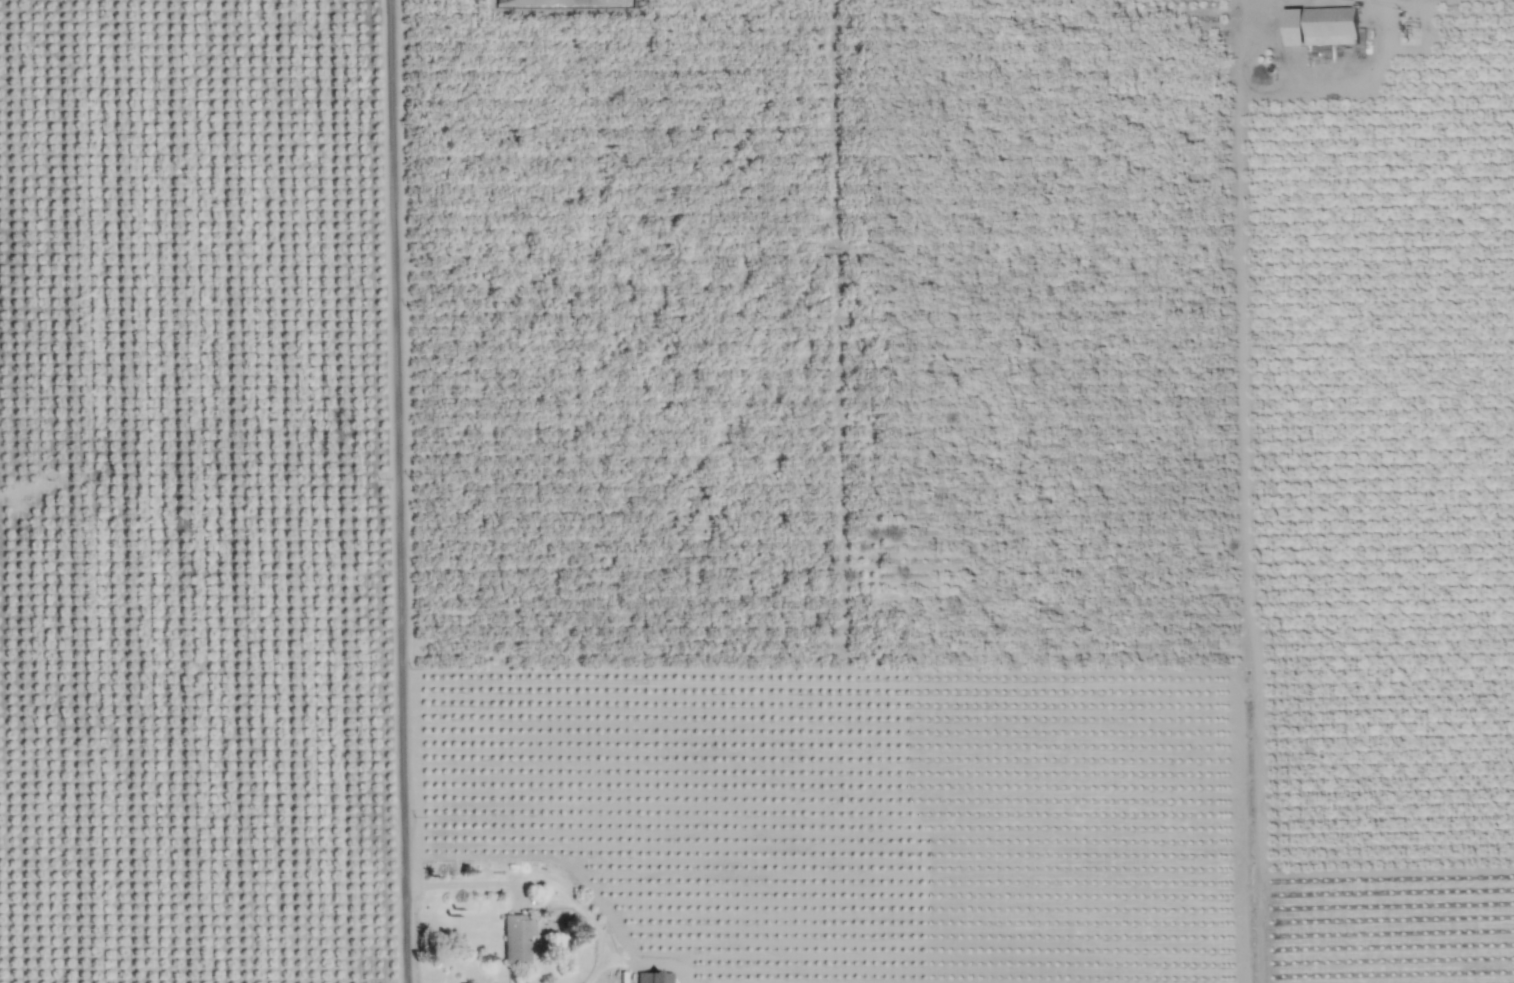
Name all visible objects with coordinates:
building: (1321, 26)
road: (401, 491)
road: (1245, 491)
road: (539, 886)
building: (517, 937)
building: (653, 977)

